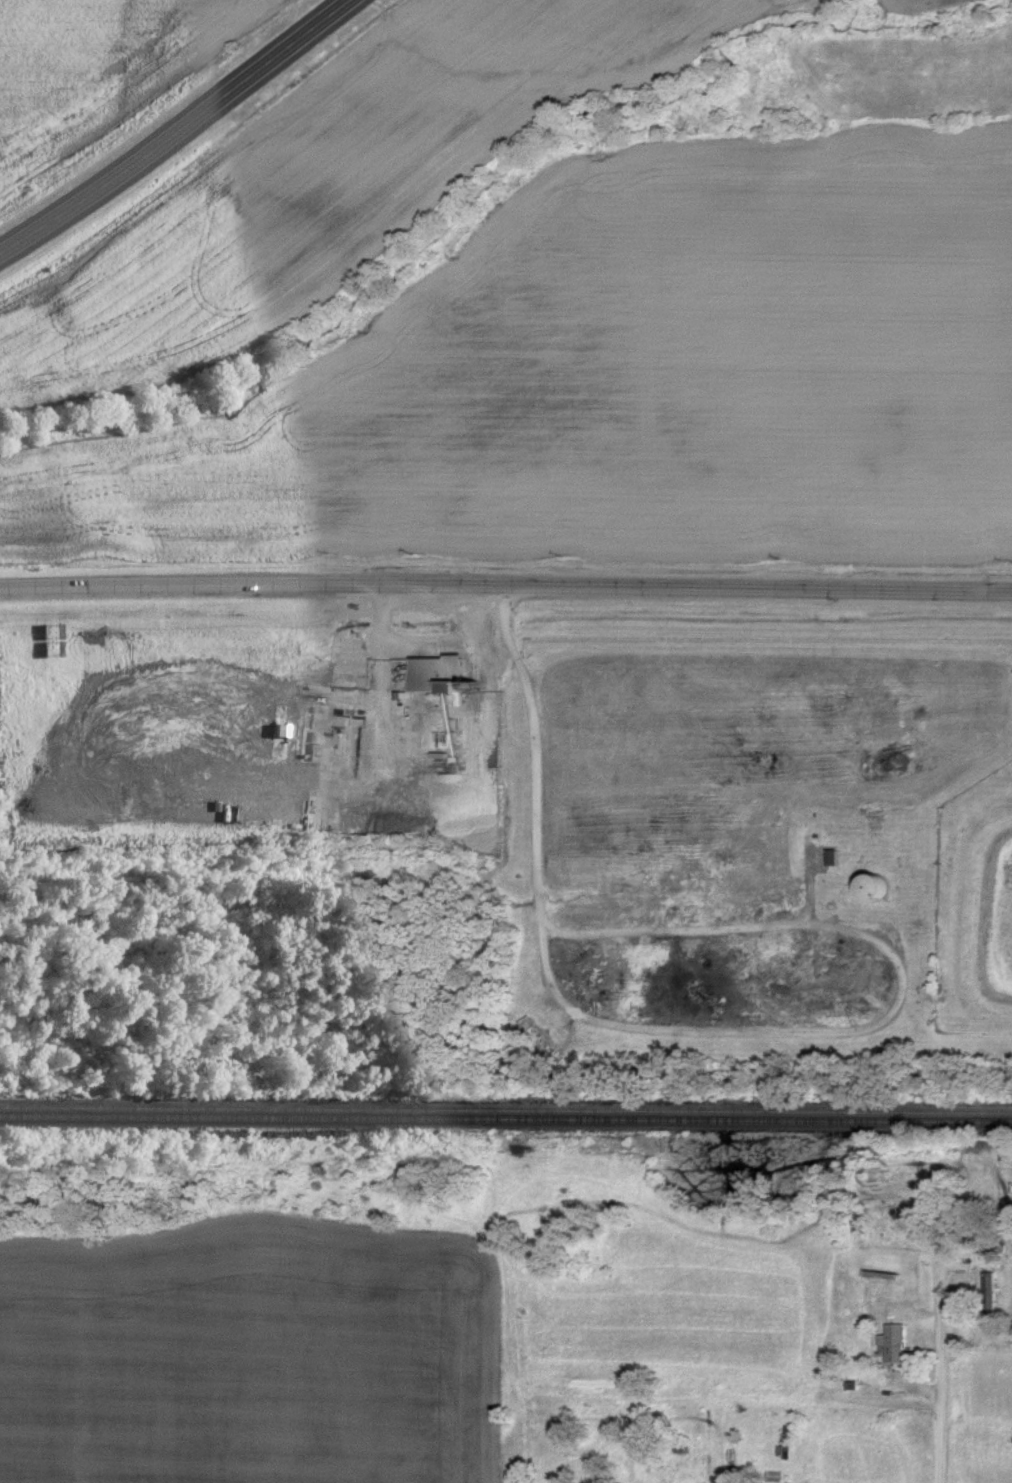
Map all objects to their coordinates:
road: (177, 129)
road: (506, 588)
building: (443, 676)
building: (834, 857)
building: (880, 887)
road: (815, 917)
railway: (505, 1109)
railway: (505, 1118)
building: (941, 1202)
building: (991, 1296)
building: (896, 1342)
road: (940, 1370)
road: (719, 1463)

